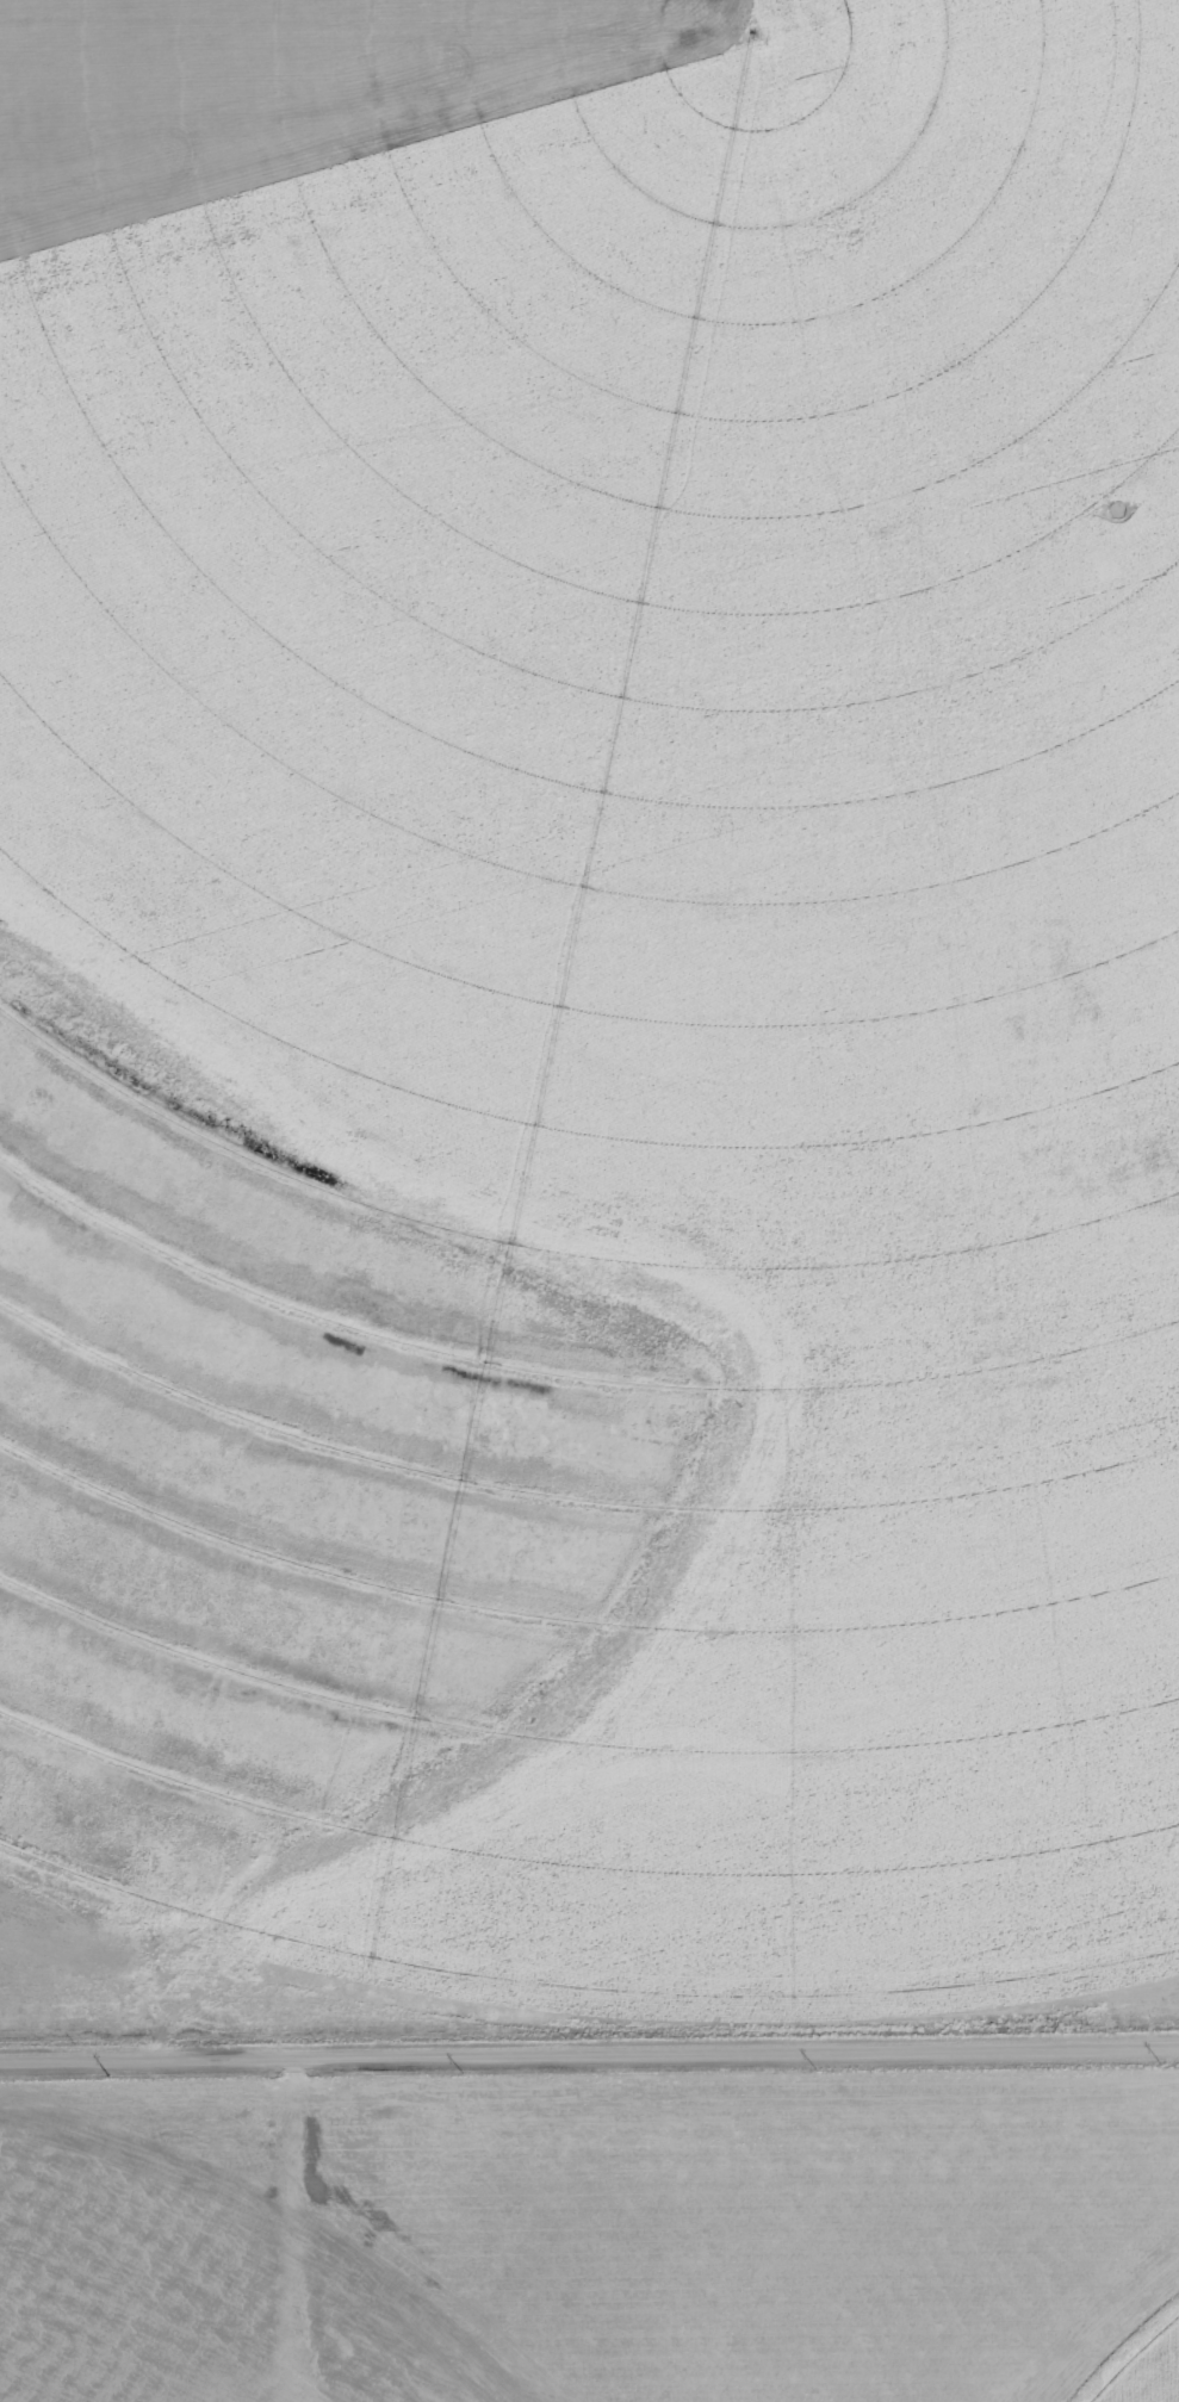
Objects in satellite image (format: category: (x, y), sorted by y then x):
road: (589, 2049)

